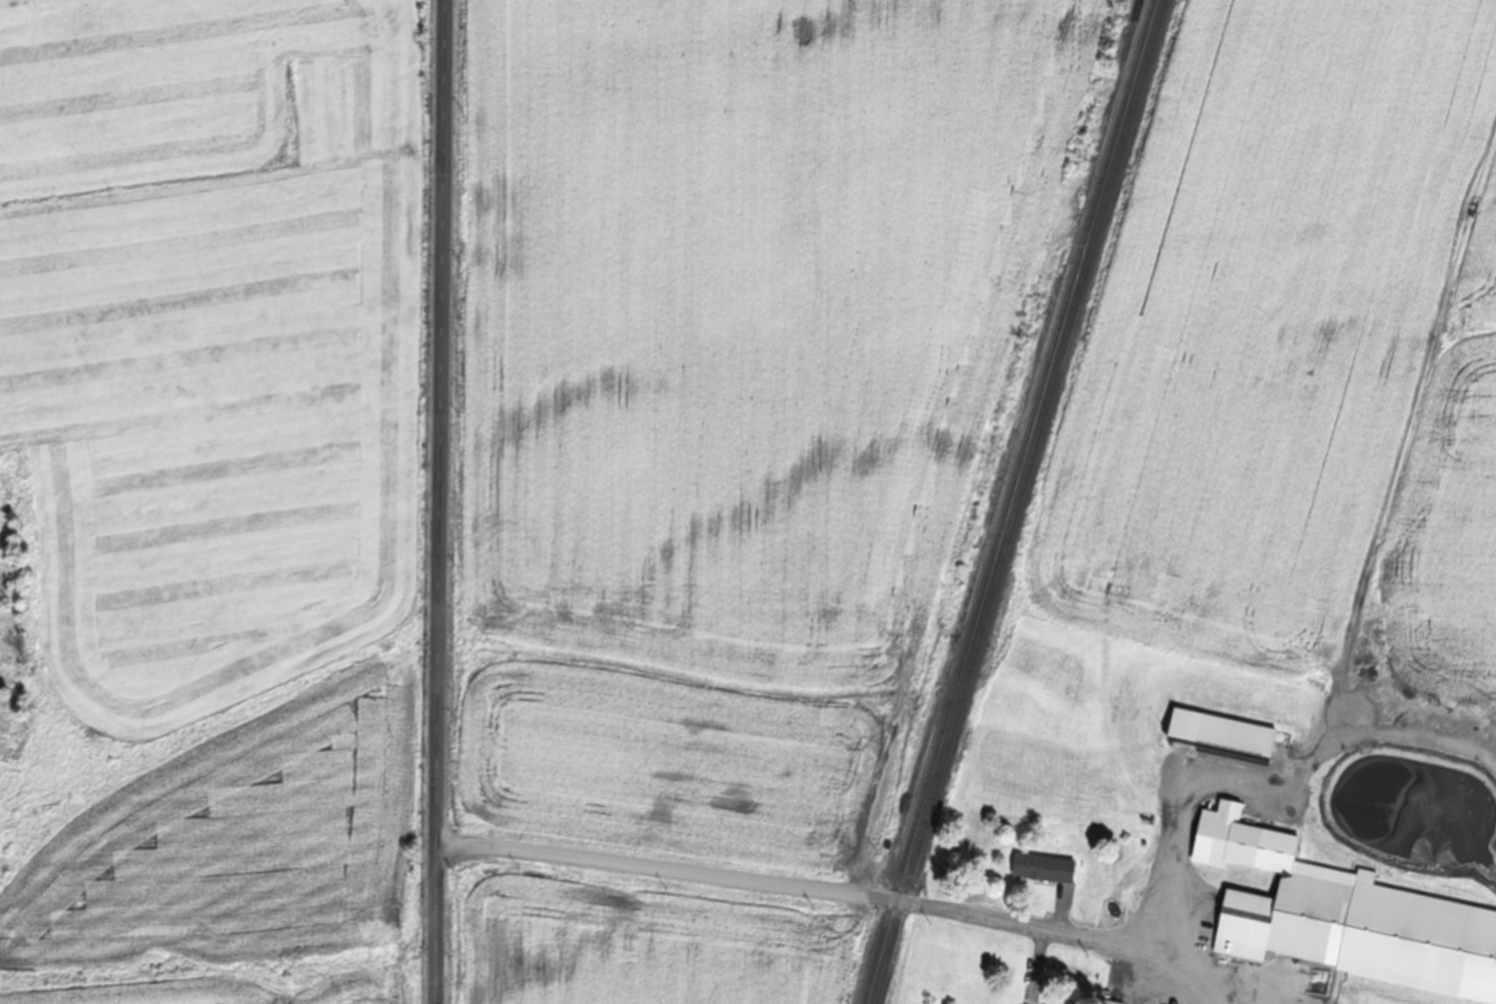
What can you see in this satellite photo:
road: (438, 501)
railway: (1006, 501)
railway: (1018, 501)
building: (1041, 868)
road: (773, 879)
building: (1311, 893)
building: (1107, 1002)

